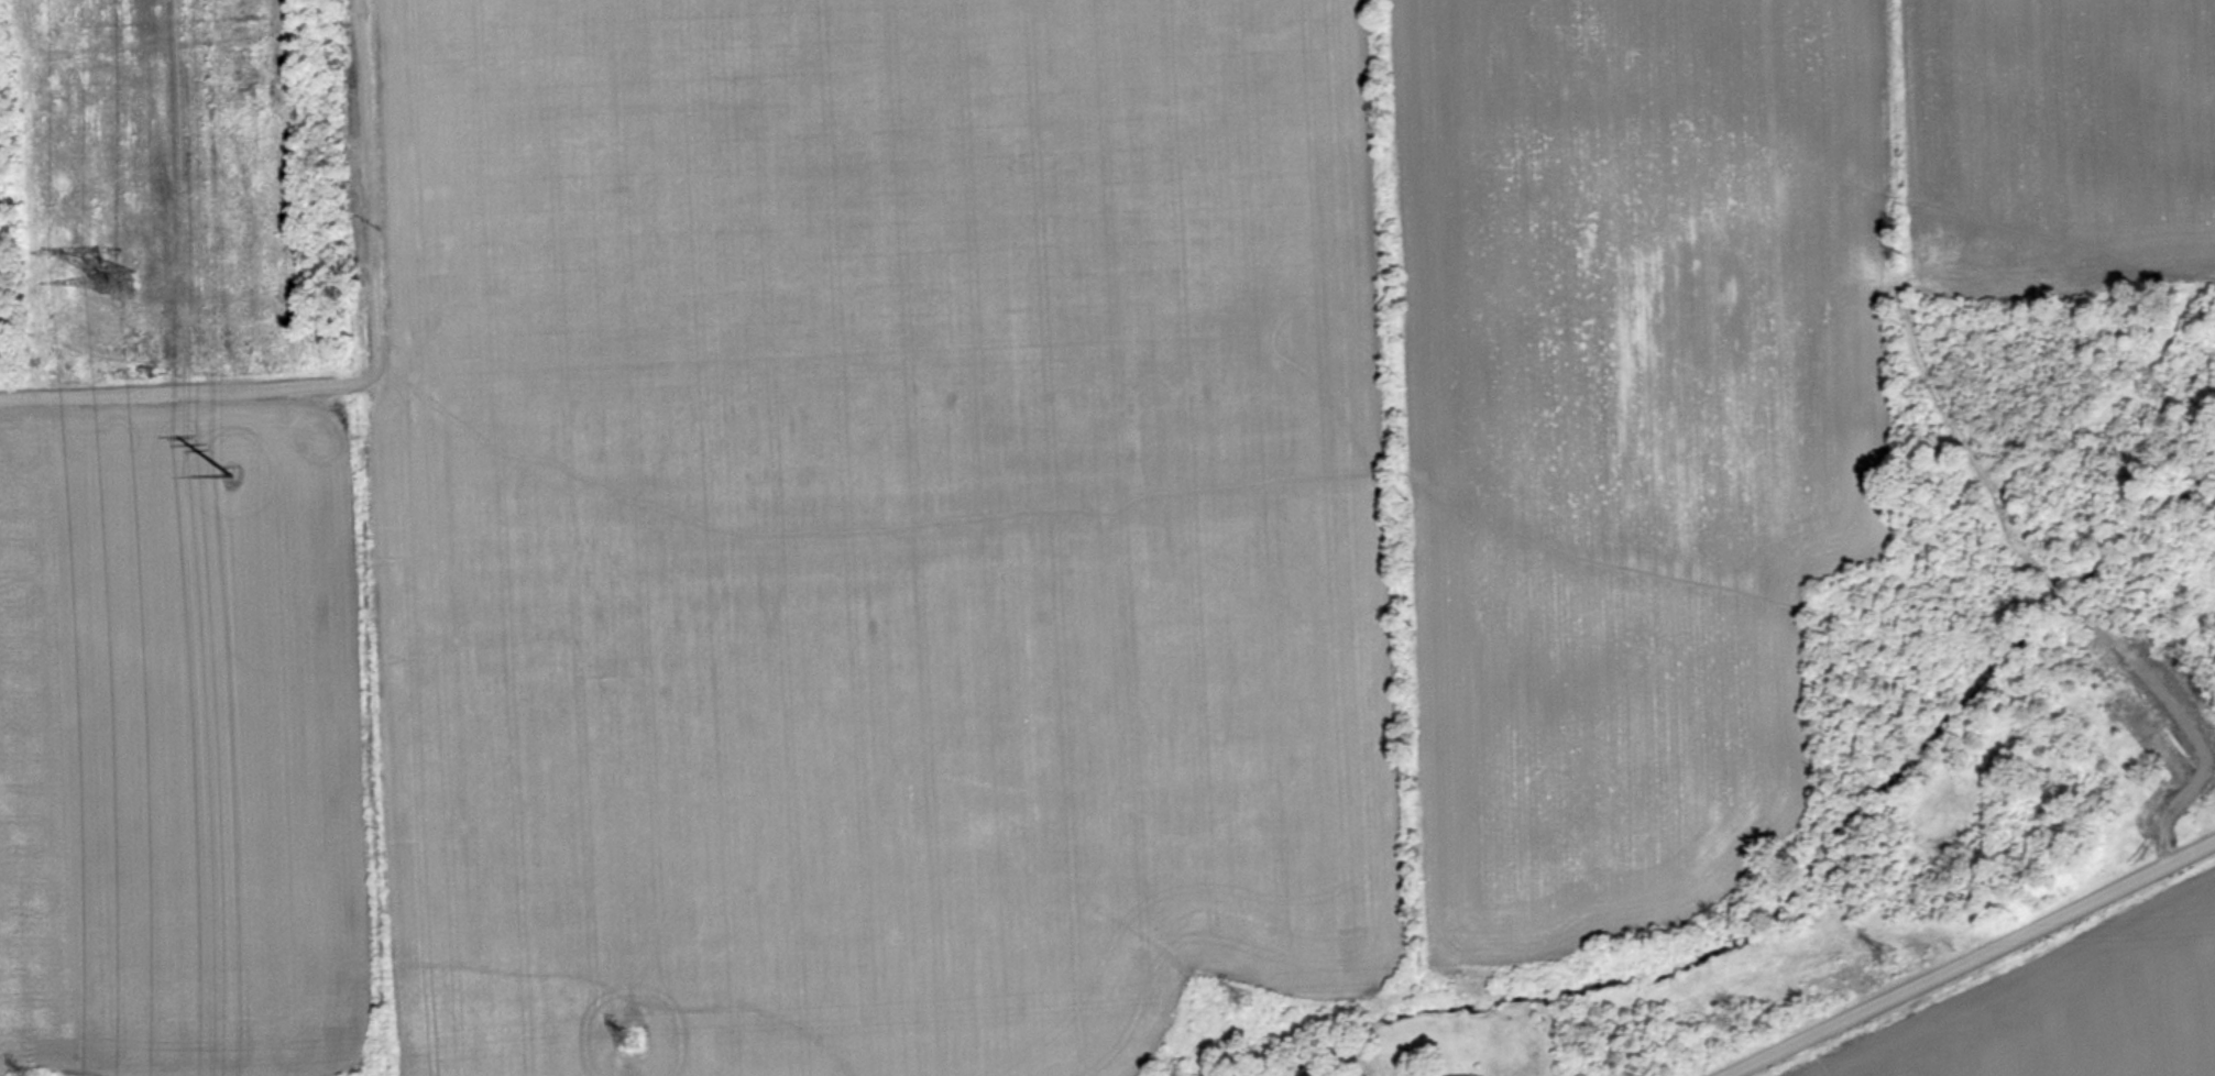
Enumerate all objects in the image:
power tower: (110, 296)
power tower: (250, 485)
power tower: (1891, 951)
road: (1978, 960)
power tower: (1244, 995)
power tower: (637, 1039)
power tower: (39, 1074)

